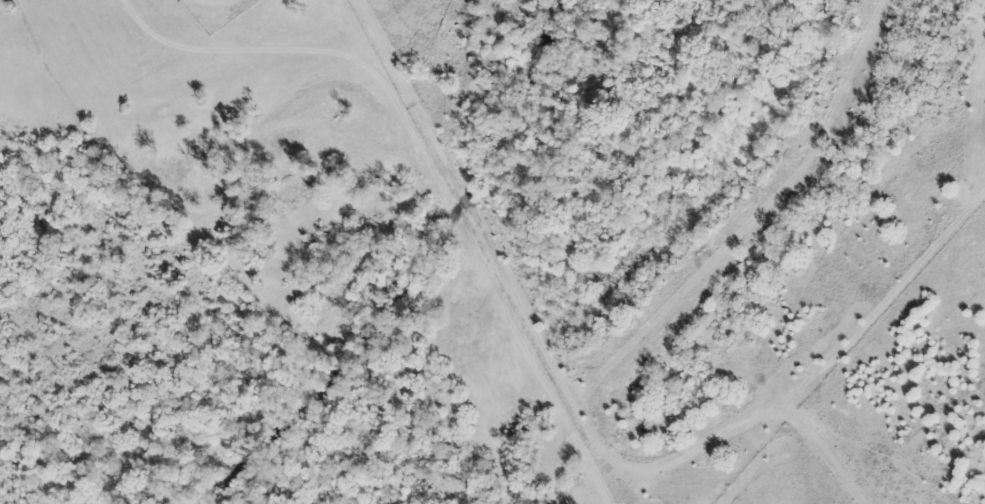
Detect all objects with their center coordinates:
road: (210, 7)
road: (391, 70)
river: (413, 276)

